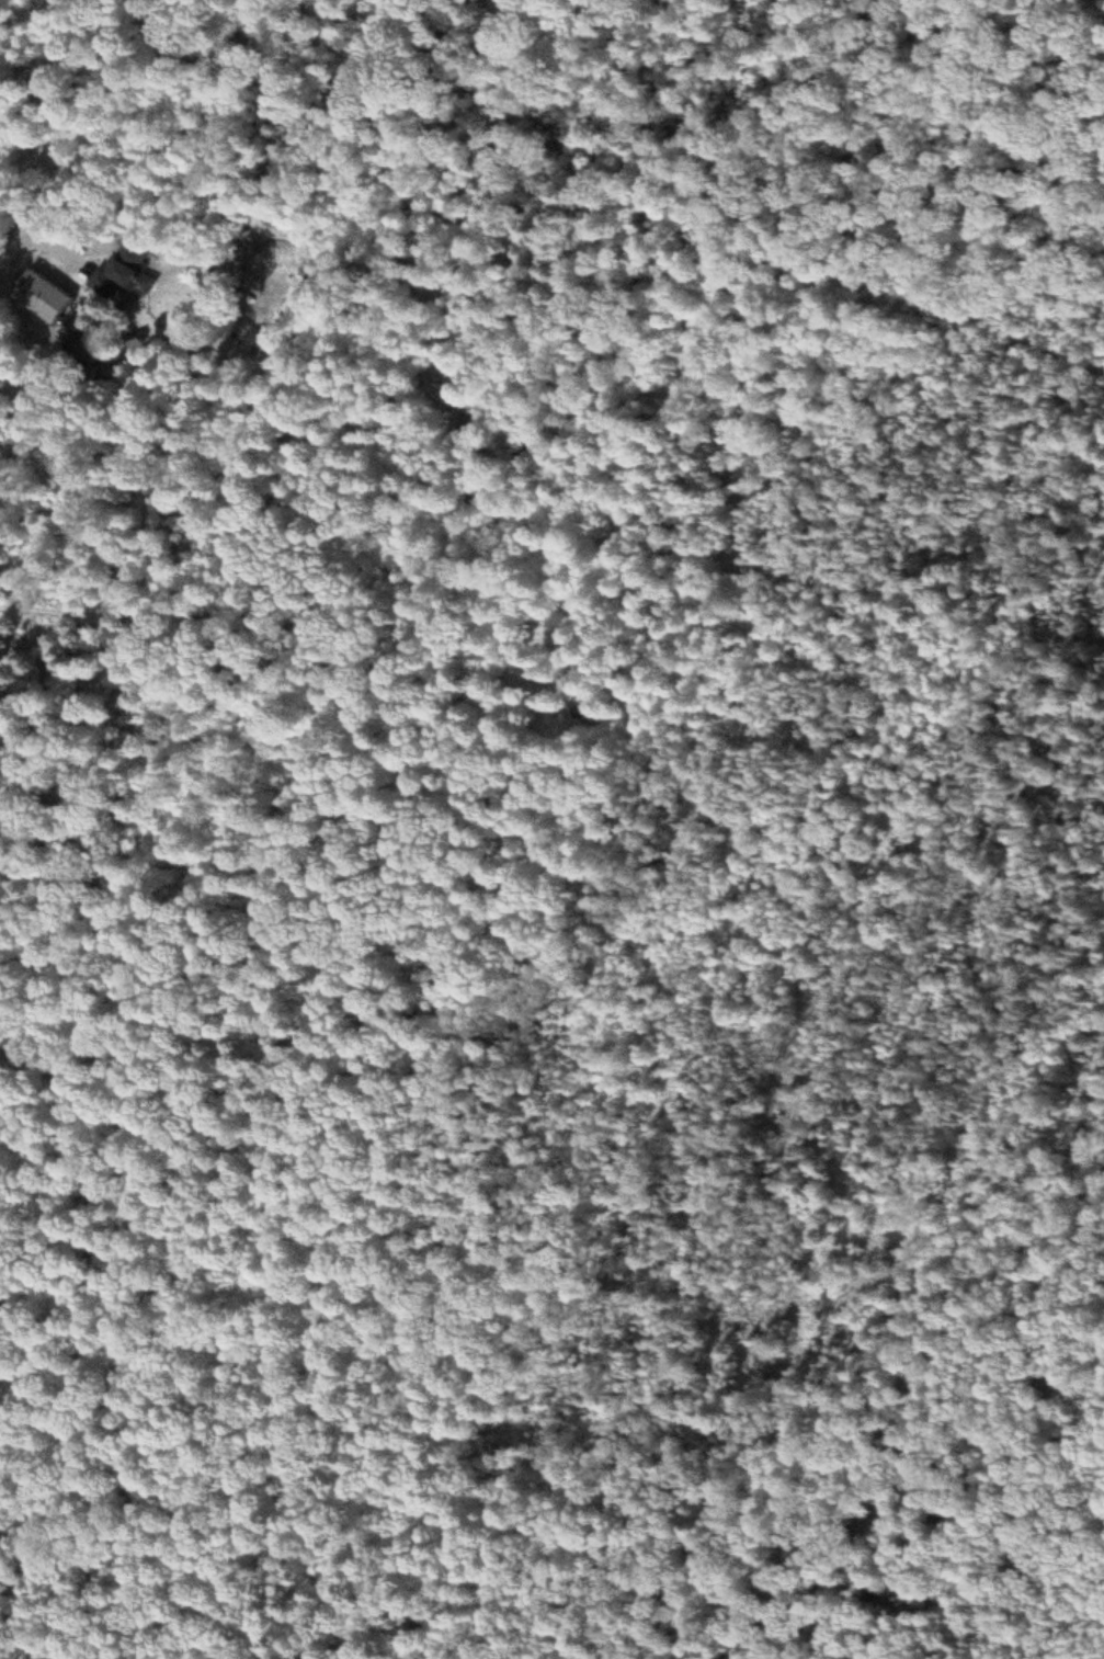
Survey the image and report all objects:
road: (79, 44)
building: (124, 270)
building: (44, 295)

